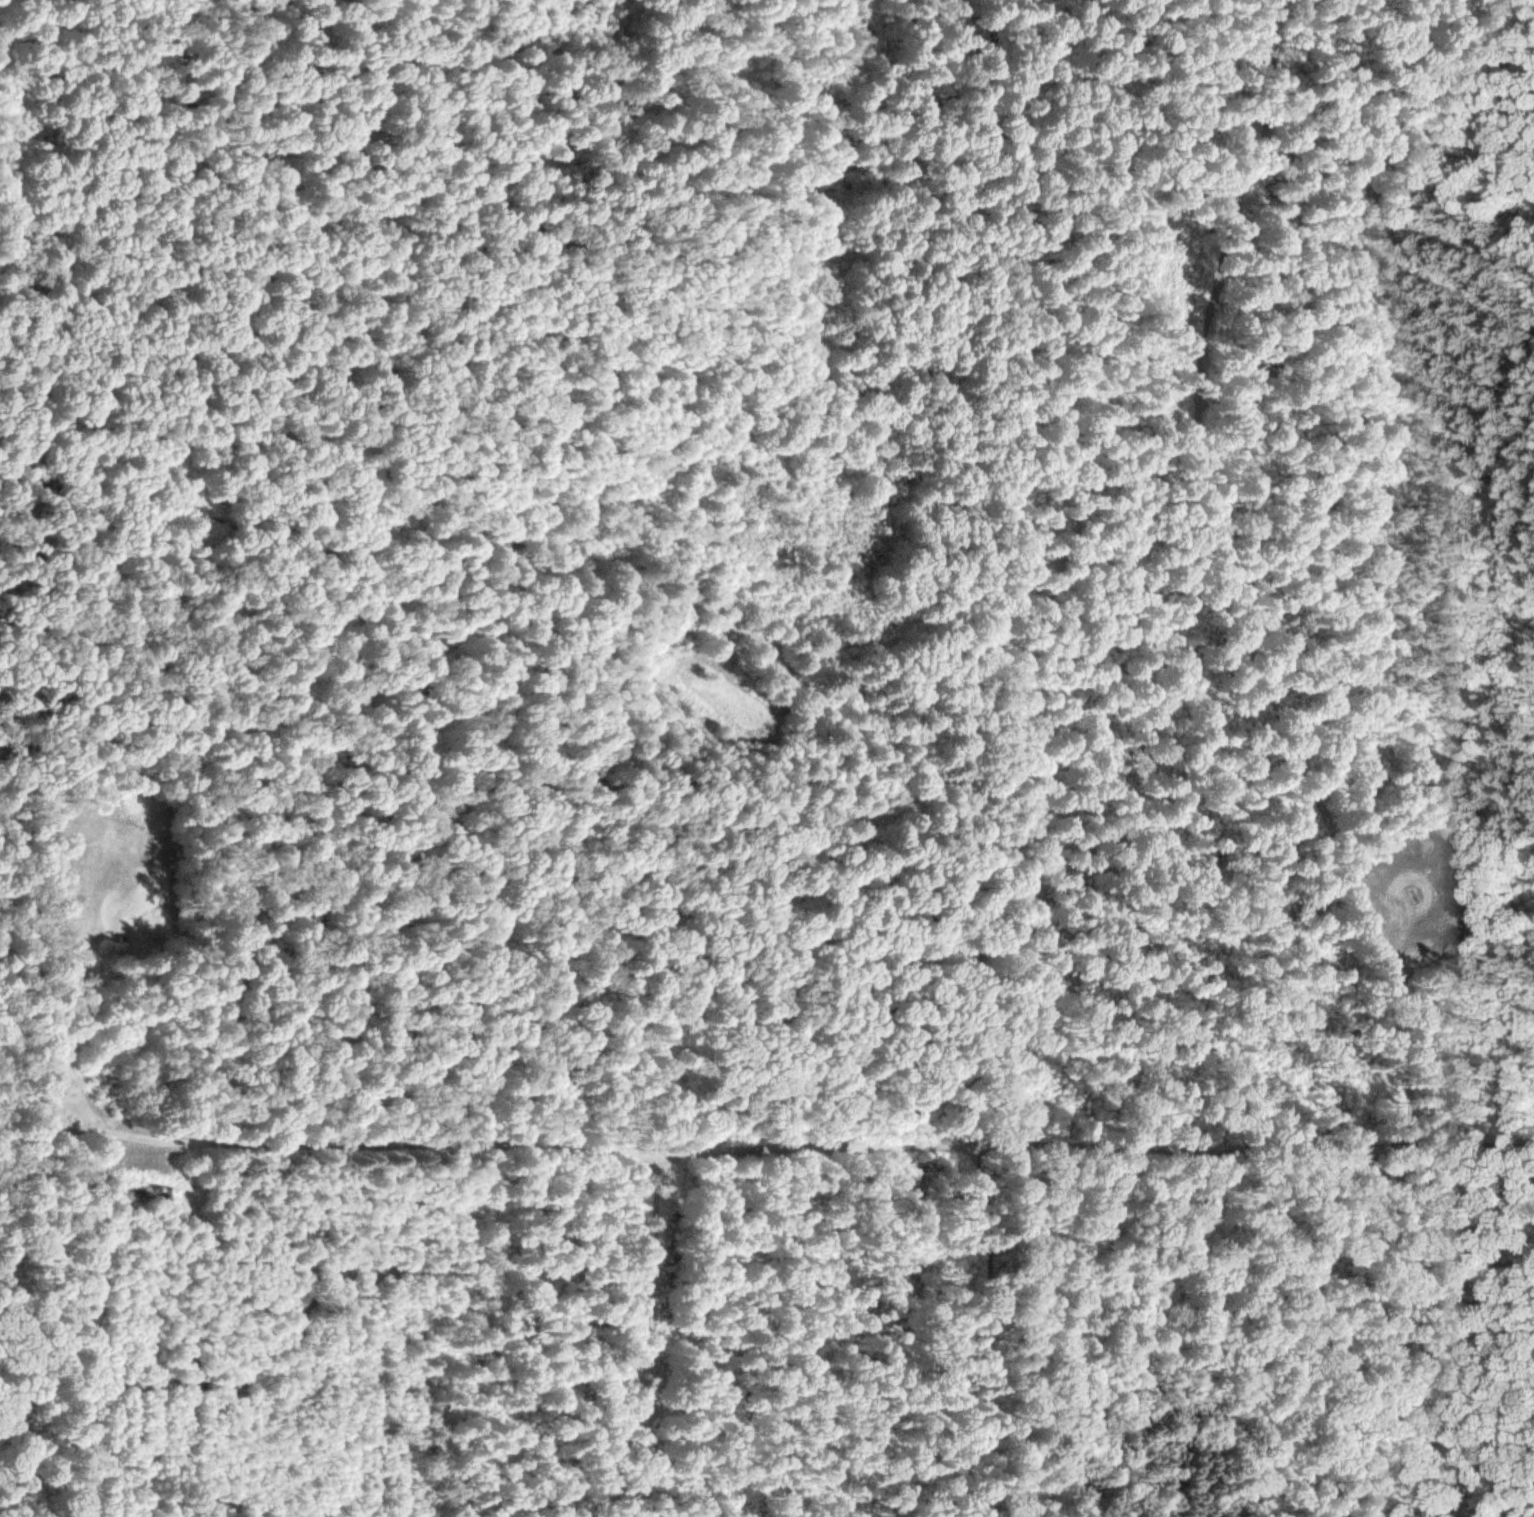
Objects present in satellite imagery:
road: (766, 1144)

